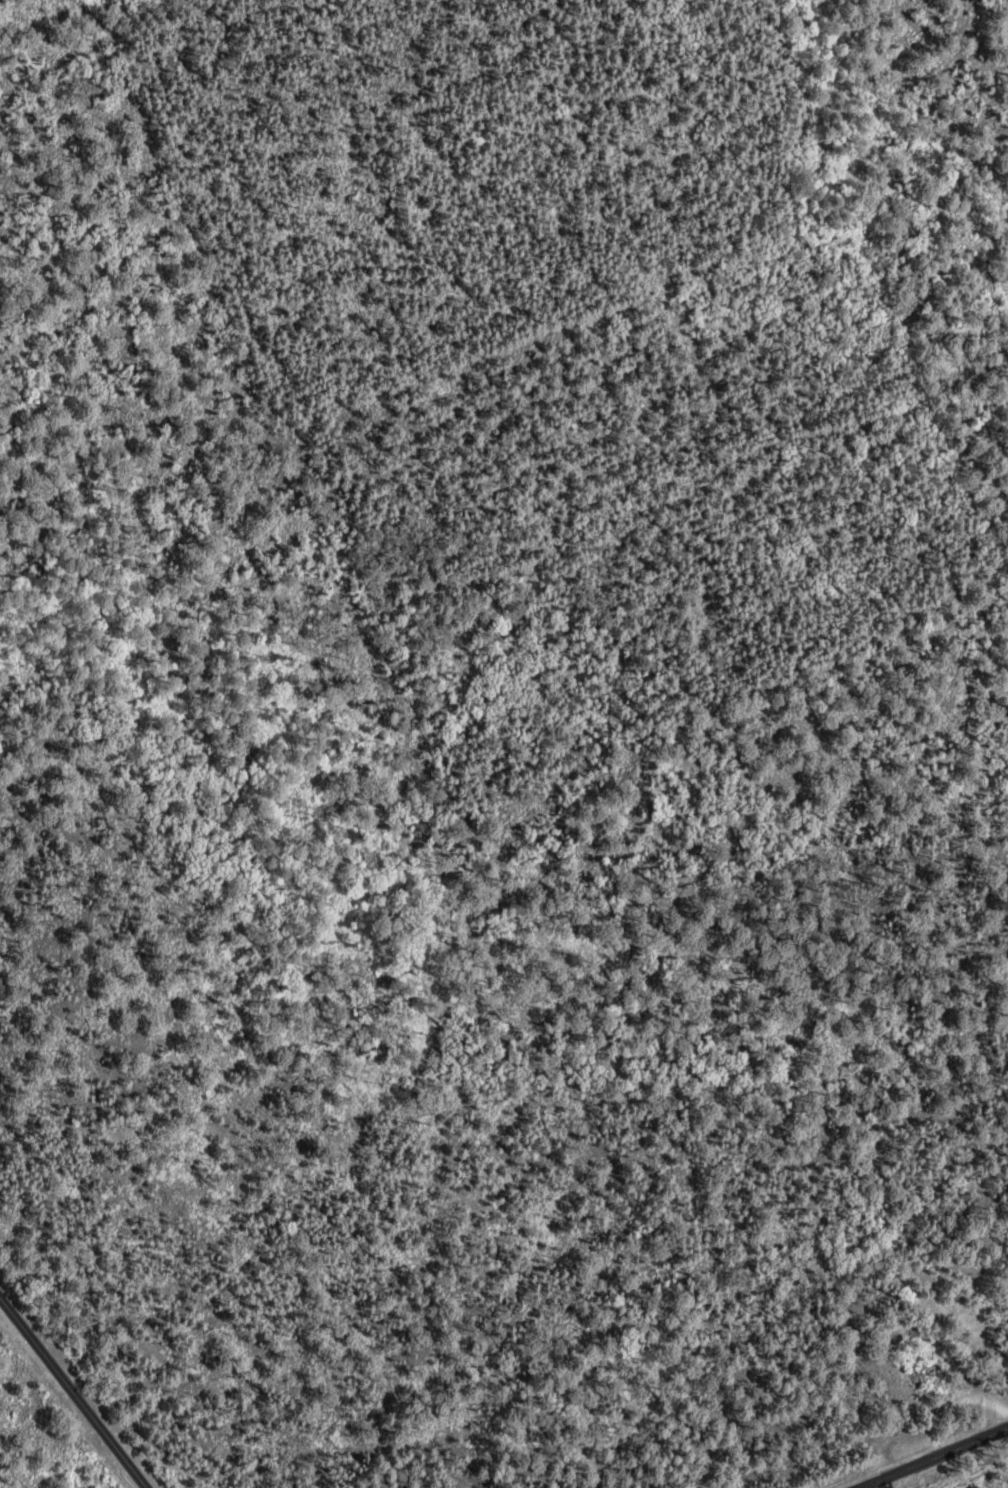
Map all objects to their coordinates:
road: (73, 1393)
road: (936, 1459)

